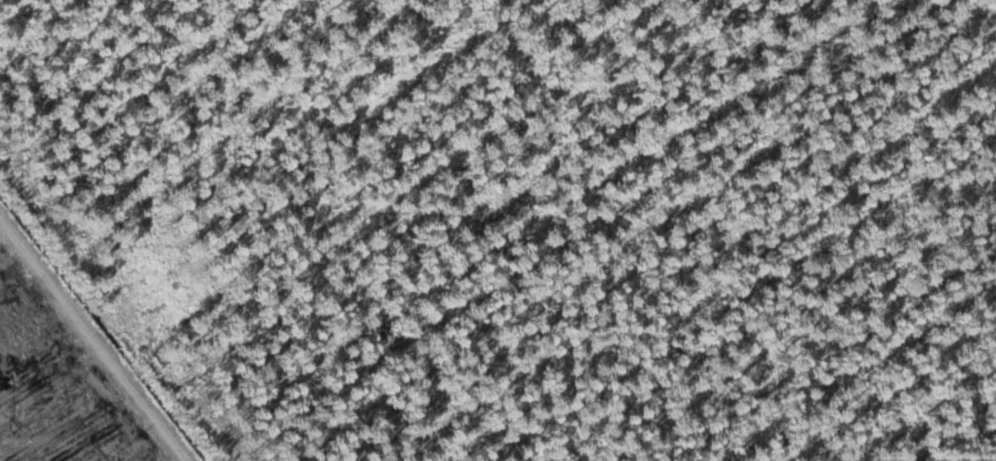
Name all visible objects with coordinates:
road: (93, 339)

